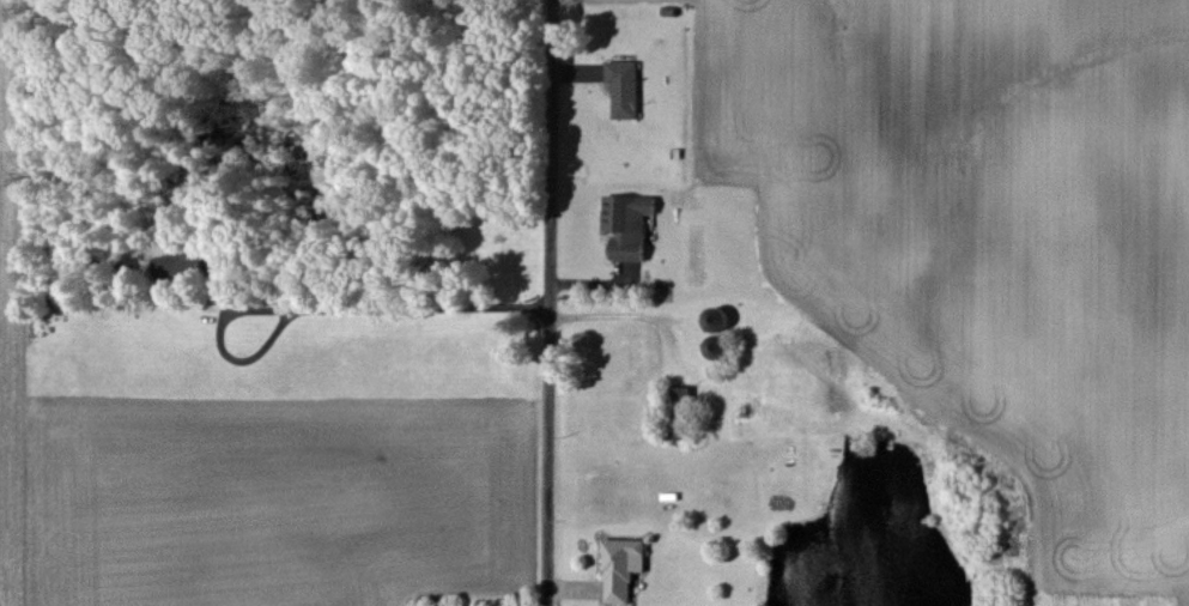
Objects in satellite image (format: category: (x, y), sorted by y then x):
building: (620, 87)
building: (623, 225)
building: (174, 265)
road: (535, 302)
road: (406, 304)
building: (617, 568)

